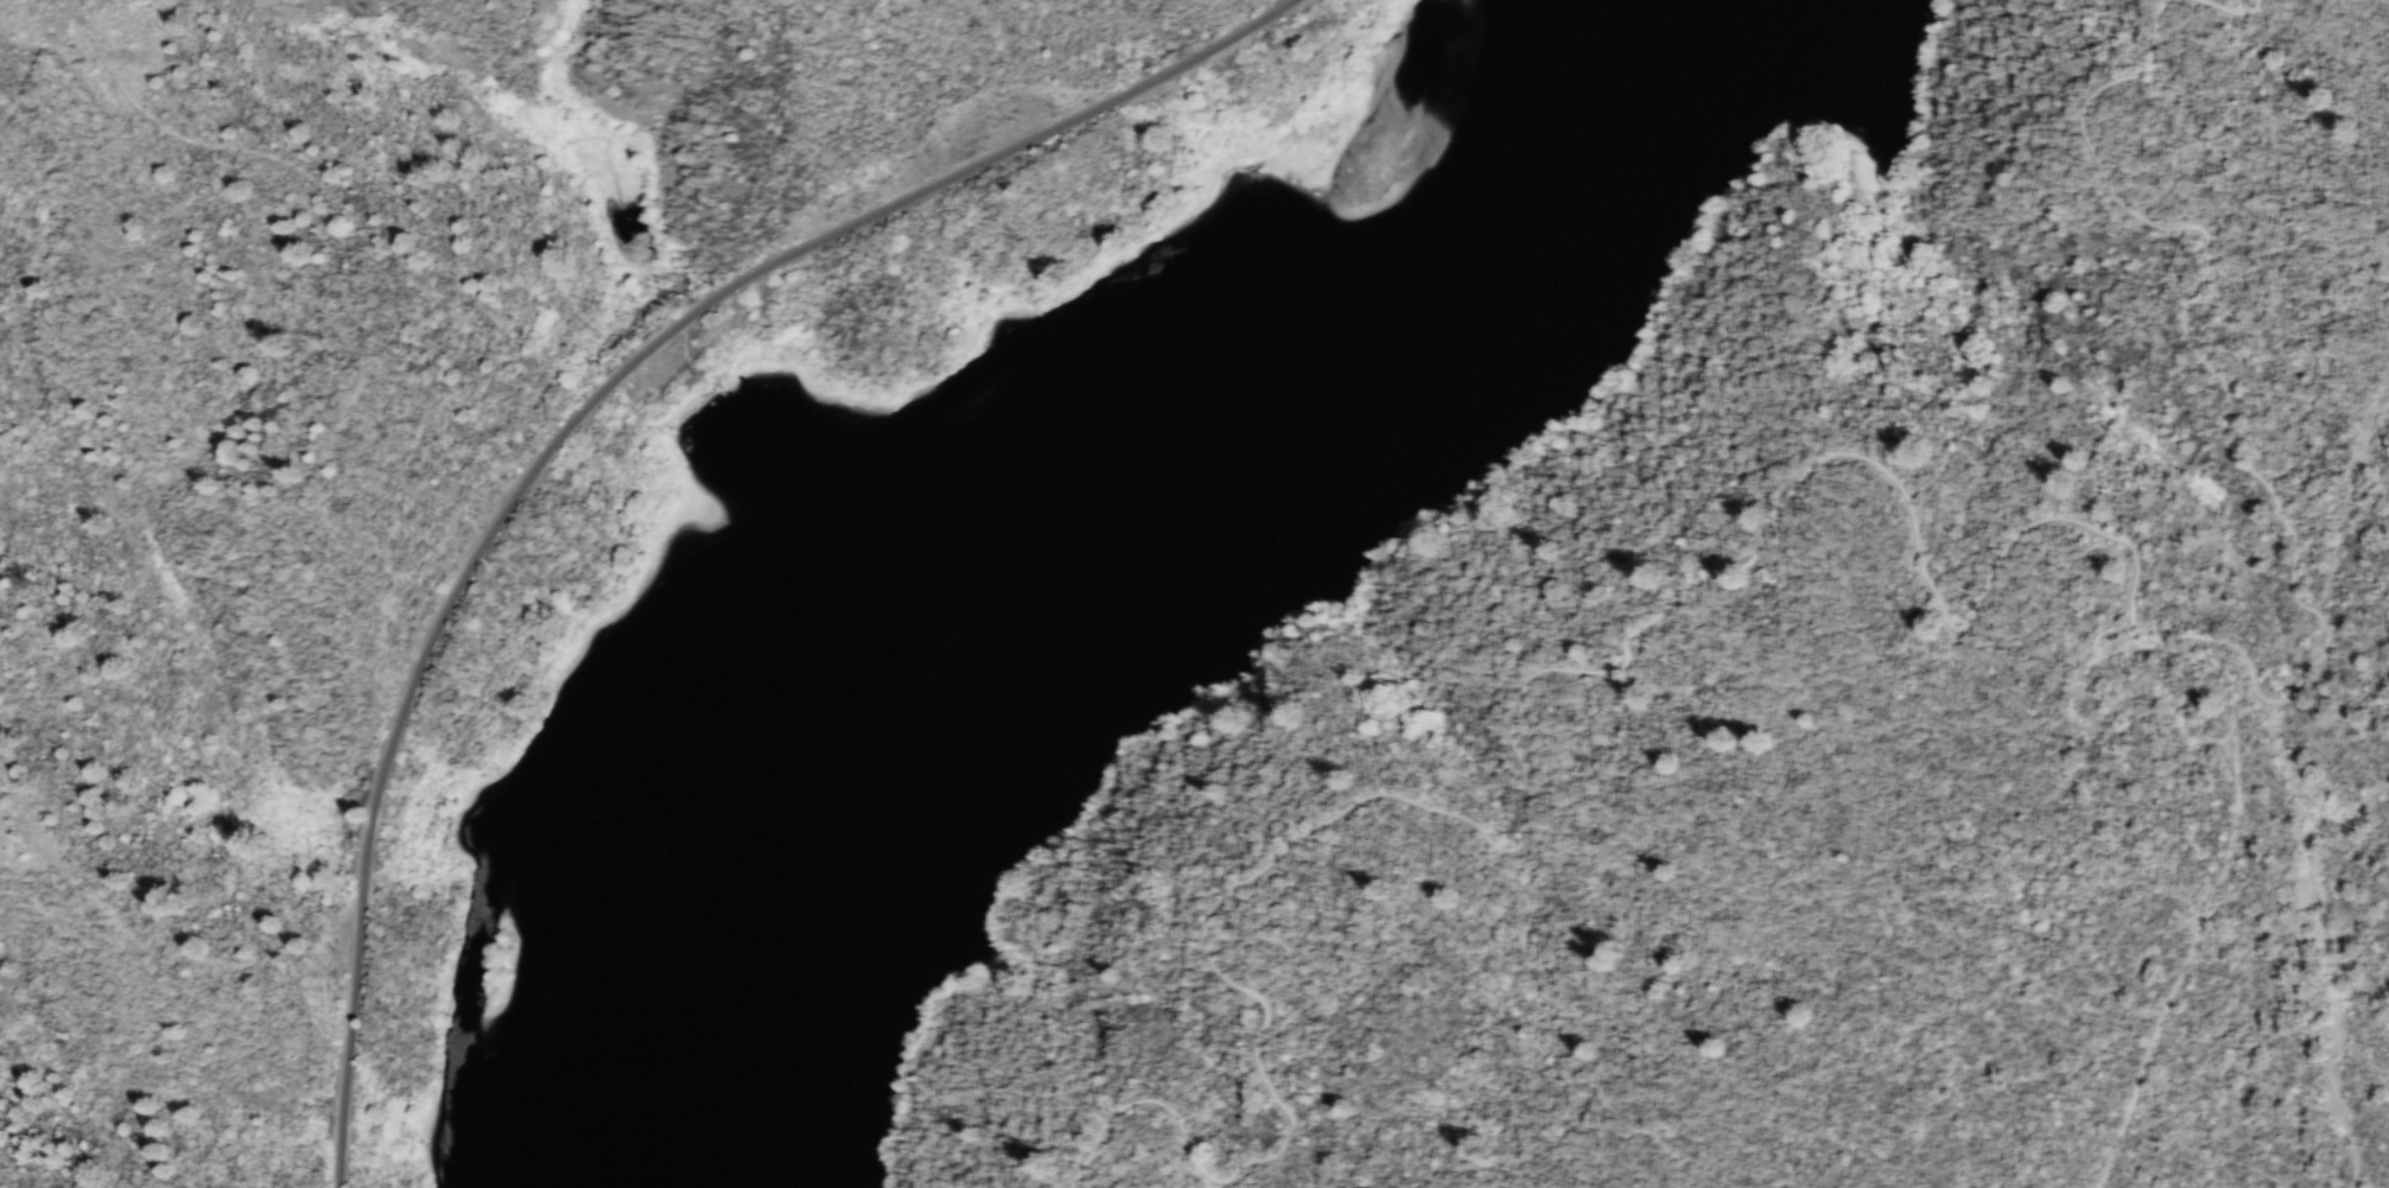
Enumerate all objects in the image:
road: (2239, 9)
river: (1276, 406)
road: (582, 417)
road: (1881, 471)
road: (2345, 503)
road: (2281, 639)
road: (2197, 930)
river: (755, 993)

